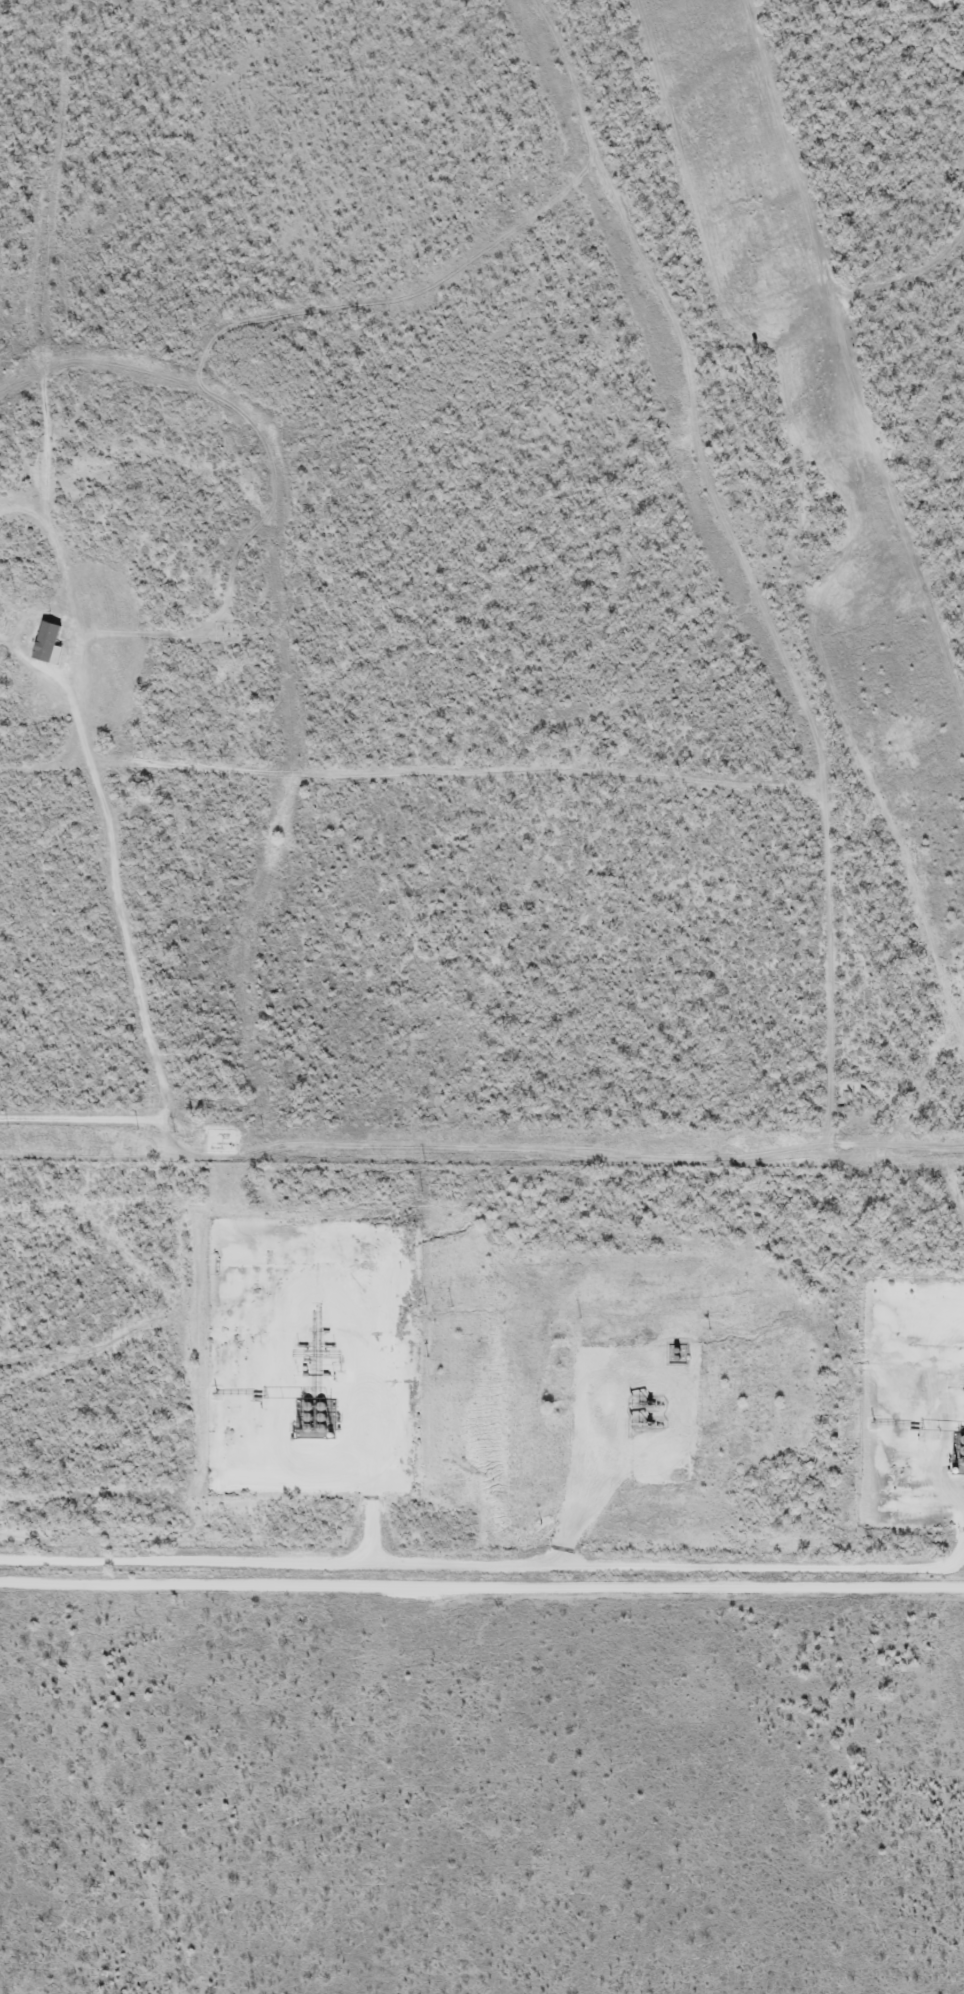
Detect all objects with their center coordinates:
building: (28, 634)
road: (134, 976)
road: (367, 1369)
road: (603, 1460)
road: (958, 1551)
road: (476, 1565)
road: (482, 1585)

